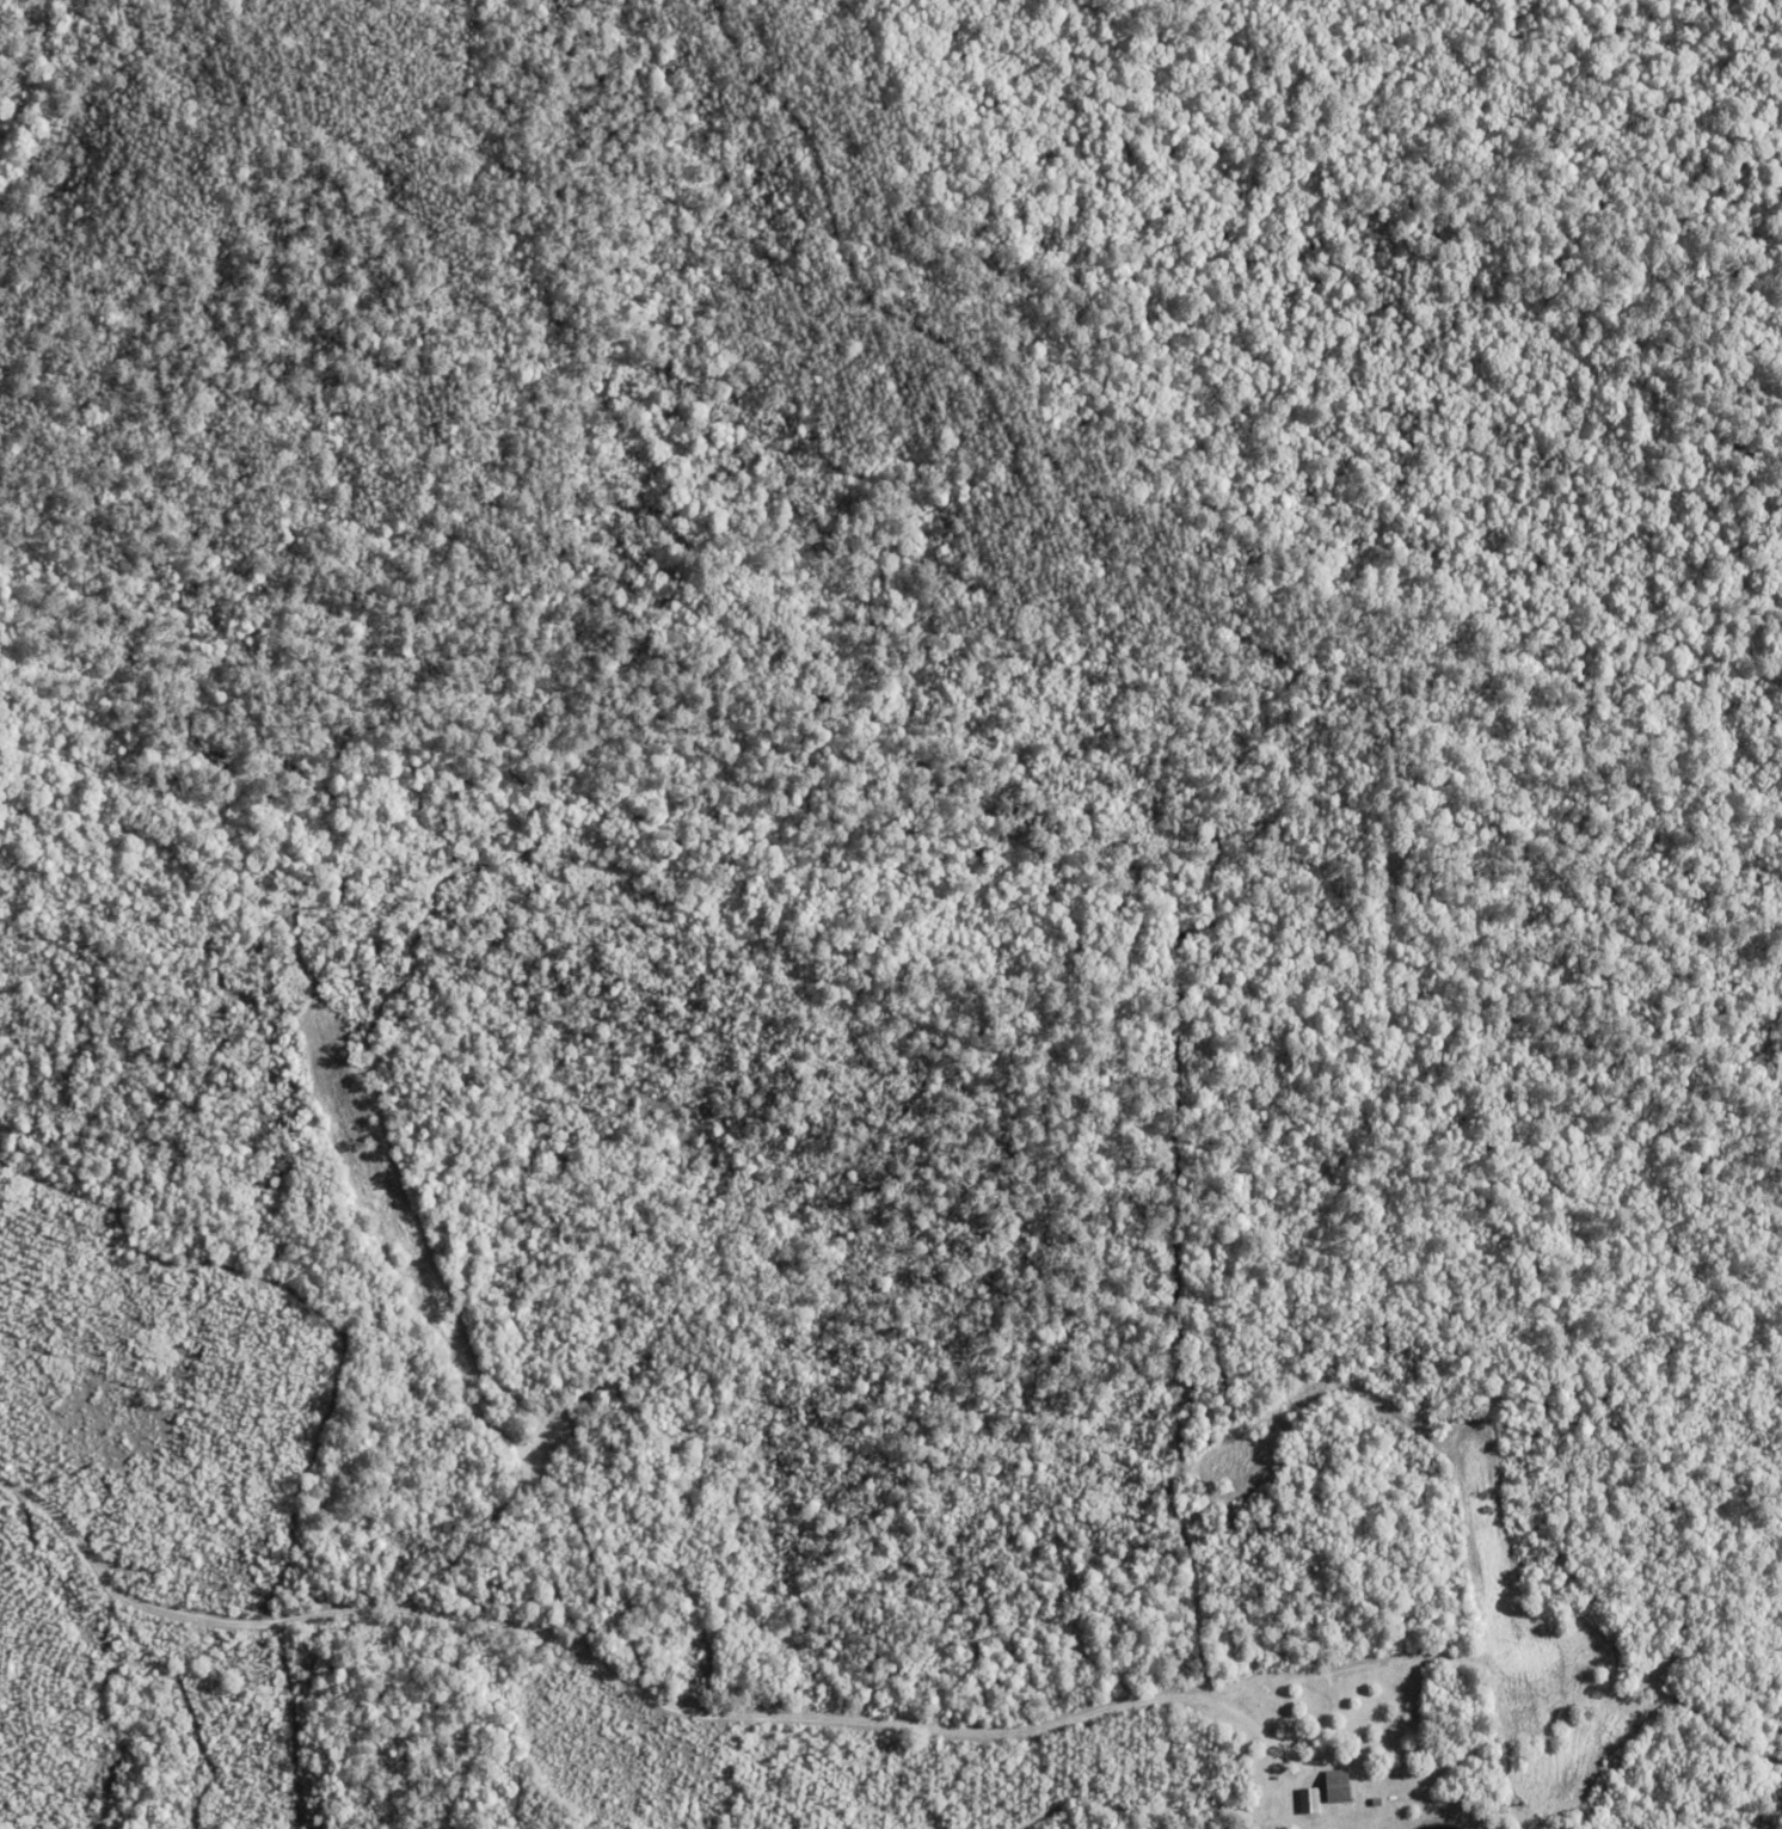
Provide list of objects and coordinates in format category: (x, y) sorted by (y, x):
building: (1335, 1786)
building: (1308, 1800)

